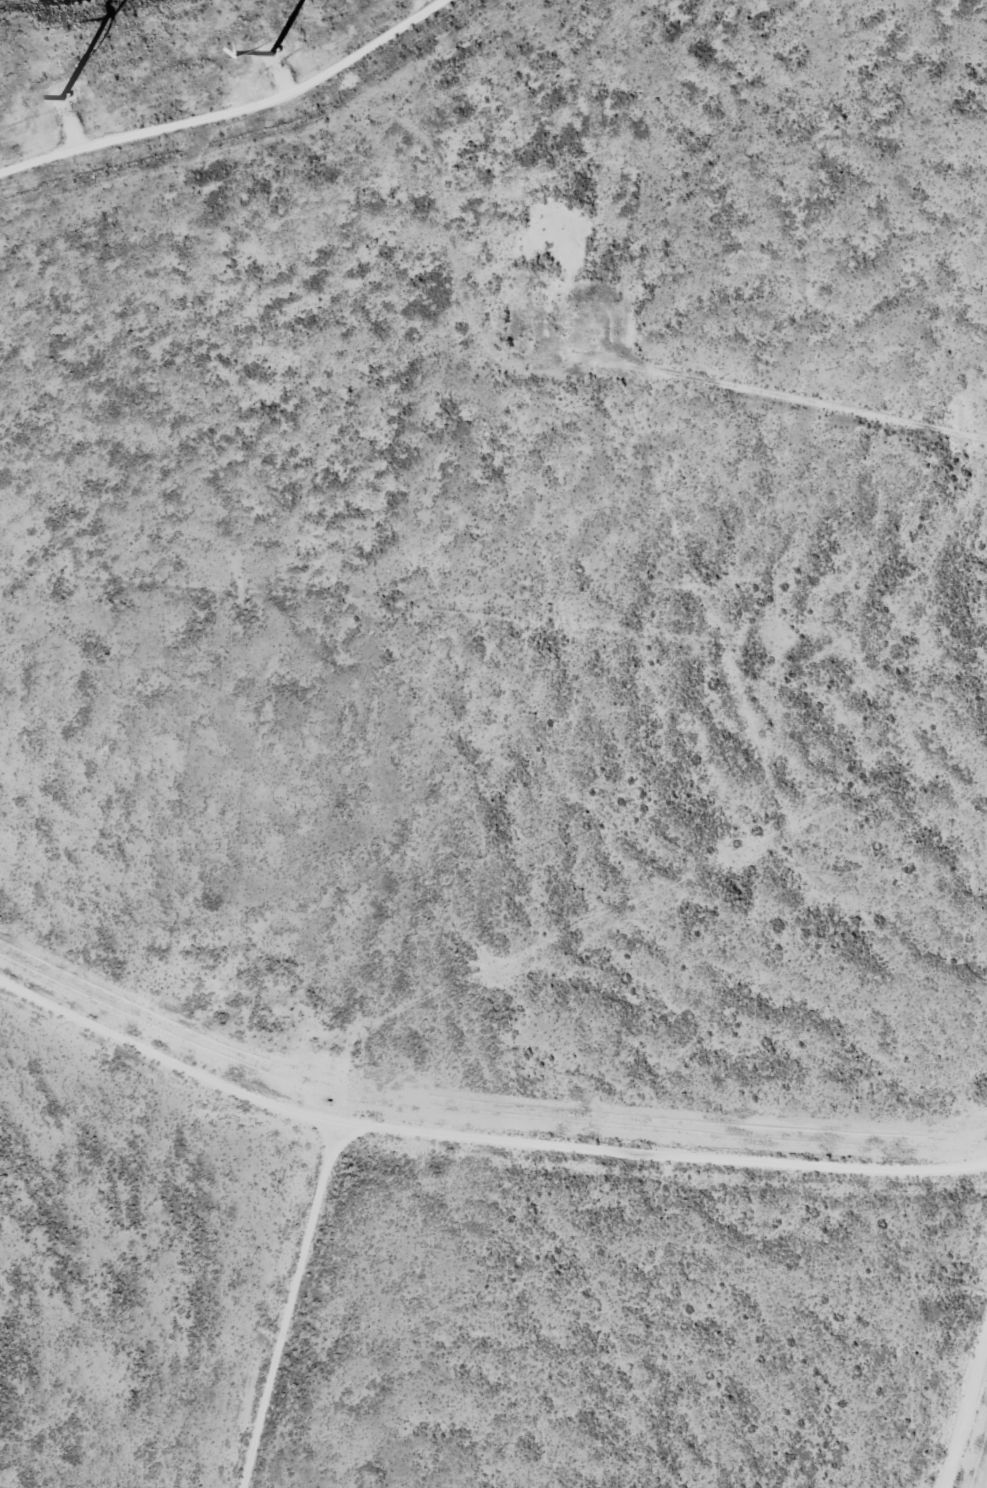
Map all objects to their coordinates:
wind turbine: (261, 58)
wind turbine: (64, 108)
road: (485, 1119)
road: (965, 1407)

